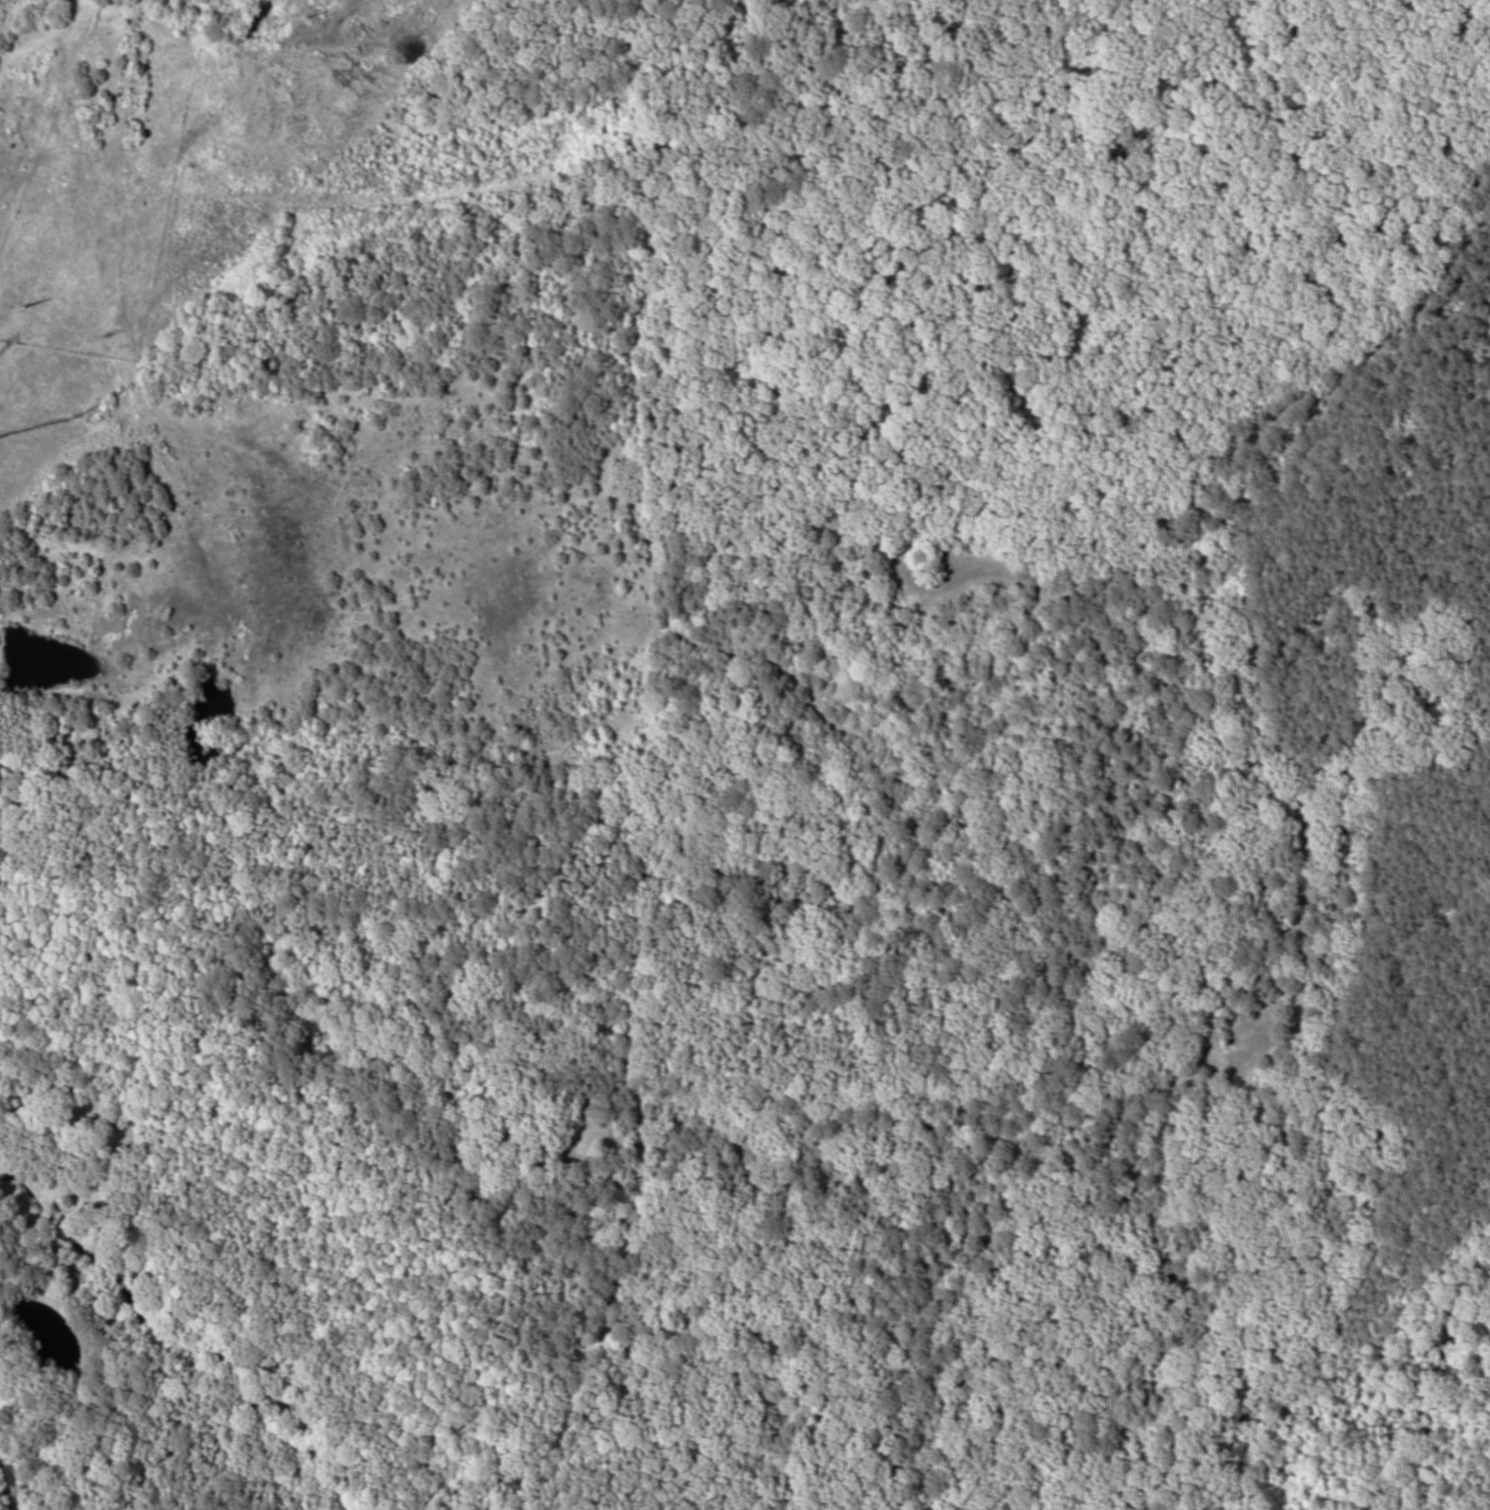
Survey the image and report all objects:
road: (100, 40)
power tower: (340, 64)

